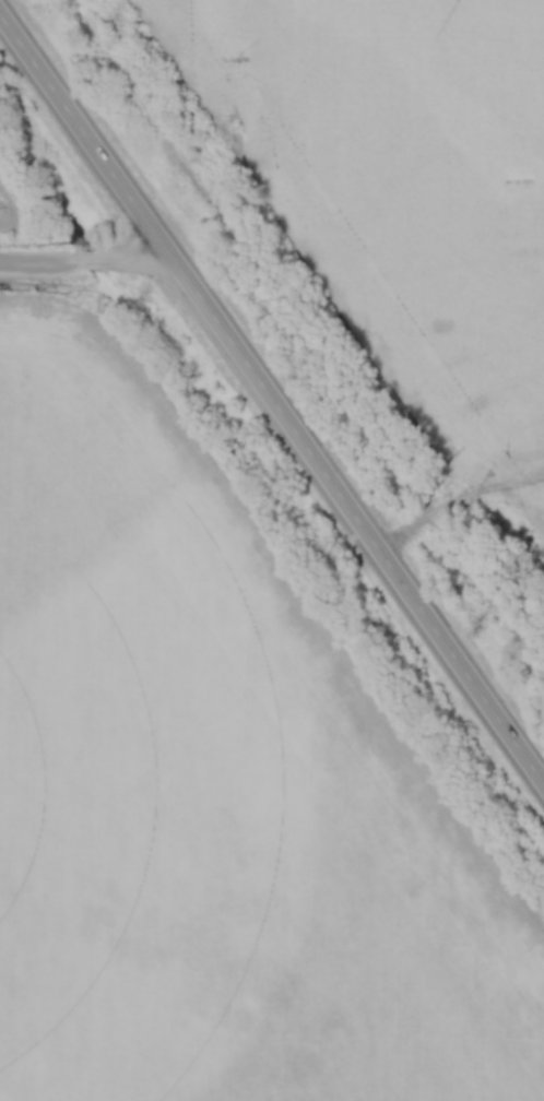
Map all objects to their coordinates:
road: (44, 173)
road: (272, 402)

